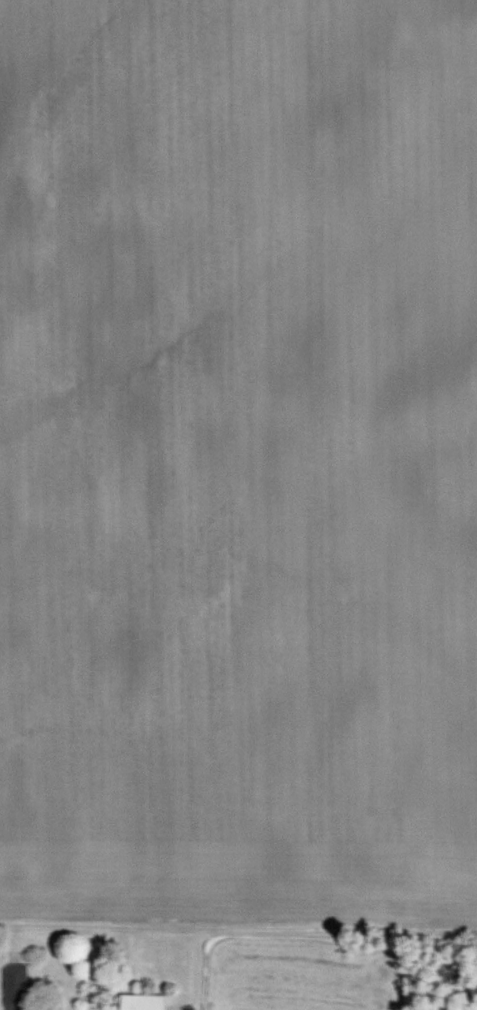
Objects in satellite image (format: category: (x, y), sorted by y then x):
road: (238, 924)
building: (448, 979)
building: (12, 986)
building: (139, 1001)

